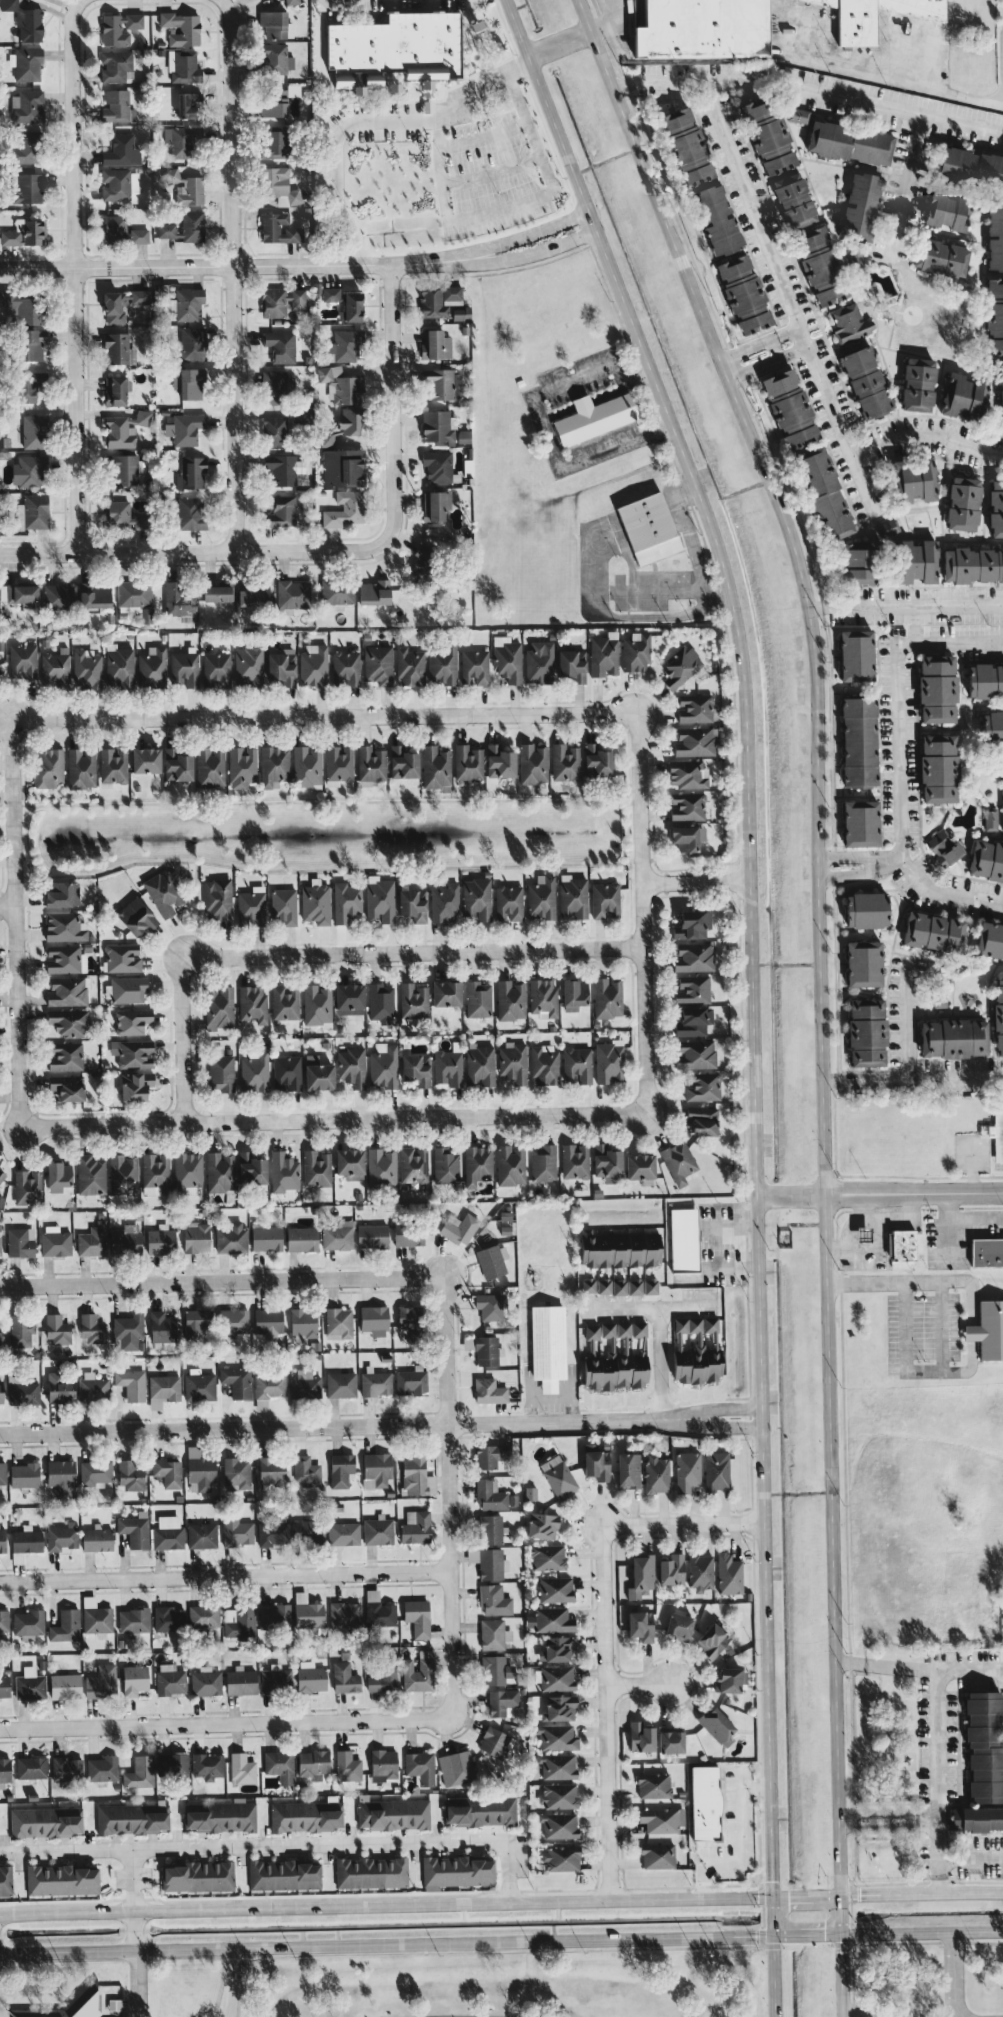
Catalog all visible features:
road: (616, 8)
building: (25, 21)
road: (605, 23)
building: (474, 24)
building: (275, 25)
building: (751, 25)
building: (119, 28)
building: (182, 28)
road: (559, 42)
building: (398, 44)
building: (276, 59)
building: (28, 64)
road: (520, 64)
building: (114, 66)
building: (183, 66)
road: (891, 79)
road: (477, 85)
road: (810, 86)
building: (274, 103)
building: (189, 105)
building: (27, 106)
building: (117, 106)
building: (798, 115)
road: (528, 129)
building: (768, 138)
building: (180, 140)
building: (276, 142)
building: (849, 143)
building: (27, 147)
building: (686, 147)
road: (332, 148)
building: (122, 150)
parking lot: (487, 157)
building: (969, 166)
building: (171, 175)
building: (120, 184)
road: (904, 185)
building: (279, 186)
building: (28, 189)
building: (190, 191)
building: (793, 201)
building: (861, 207)
building: (947, 212)
building: (716, 219)
building: (185, 227)
building: (278, 229)
building: (121, 231)
building: (25, 233)
building: (995, 236)
building: (941, 258)
road: (299, 266)
building: (819, 267)
road: (233, 271)
road: (73, 273)
building: (452, 293)
building: (331, 294)
building: (744, 294)
building: (140, 297)
building: (298, 299)
road: (789, 300)
building: (274, 303)
building: (432, 303)
building: (188, 304)
building: (23, 307)
building: (114, 307)
building: (351, 307)
building: (994, 315)
building: (850, 323)
road: (758, 340)
building: (192, 343)
building: (33, 344)
building: (344, 345)
building: (435, 345)
building: (281, 346)
road: (773, 347)
road: (766, 361)
building: (865, 382)
building: (189, 383)
building: (442, 384)
building: (30, 385)
building: (342, 385)
building: (918, 385)
building: (277, 387)
building: (115, 391)
building: (964, 396)
building: (1001, 396)
building: (789, 408)
building: (594, 417)
building: (282, 426)
building: (437, 427)
road: (544, 427)
building: (185, 428)
building: (124, 429)
building: (35, 431)
road: (927, 434)
building: (463, 436)
building: (438, 466)
building: (343, 467)
building: (124, 469)
building: (282, 469)
building: (31, 471)
building: (192, 472)
building: (914, 480)
building: (824, 493)
building: (963, 504)
building: (435, 505)
building: (345, 509)
building: (996, 509)
building: (33, 511)
building: (282, 512)
building: (191, 513)
building: (123, 516)
building: (648, 528)
building: (887, 528)
road: (690, 540)
road: (370, 550)
road: (38, 551)
building: (916, 561)
building: (423, 562)
building: (858, 564)
road: (590, 565)
building: (973, 565)
building: (337, 591)
building: (218, 592)
building: (374, 592)
building: (19, 593)
building: (253, 594)
building: (293, 594)
building: (59, 595)
building: (95, 595)
building: (136, 598)
building: (178, 601)
road: (914, 605)
road: (817, 608)
road: (914, 624)
building: (635, 652)
building: (603, 655)
building: (856, 655)
building: (507, 659)
building: (23, 661)
building: (442, 664)
building: (539, 664)
building: (313, 665)
building: (378, 665)
building: (409, 666)
building: (571, 666)
building: (248, 667)
building: (474, 667)
building: (682, 667)
building: (56, 668)
building: (152, 668)
building: (281, 668)
building: (345, 668)
building: (87, 669)
building: (184, 669)
building: (216, 669)
building: (0, 671)
building: (985, 681)
building: (937, 688)
road: (898, 700)
building: (695, 708)
road: (322, 715)
building: (993, 728)
building: (695, 741)
building: (859, 741)
building: (938, 744)
building: (145, 760)
building: (597, 761)
building: (499, 762)
building: (565, 762)
building: (403, 763)
building: (468, 763)
building: (533, 764)
building: (113, 765)
building: (177, 765)
building: (338, 765)
building: (370, 765)
building: (274, 766)
building: (49, 767)
building: (242, 767)
building: (307, 767)
building: (435, 767)
building: (81, 768)
building: (210, 768)
building: (687, 774)
building: (939, 778)
road: (324, 802)
building: (687, 806)
building: (990, 819)
building: (860, 823)
building: (687, 837)
building: (944, 847)
building: (986, 860)
road: (323, 867)
road: (911, 875)
road: (695, 883)
building: (163, 893)
building: (62, 894)
building: (541, 897)
building: (573, 897)
building: (379, 899)
building: (476, 899)
building: (605, 900)
building: (346, 902)
building: (444, 903)
building: (508, 903)
building: (315, 904)
building: (412, 904)
road: (5, 905)
building: (251, 907)
building: (283, 907)
building: (866, 910)
road: (640, 913)
building: (136, 917)
road: (10, 921)
building: (692, 924)
building: (65, 927)
building: (933, 932)
building: (990, 940)
road: (330, 955)
building: (122, 957)
building: (693, 957)
building: (65, 959)
building: (863, 963)
road: (820, 983)
road: (752, 987)
building: (128, 989)
building: (693, 989)
building: (67, 991)
building: (446, 993)
building: (574, 994)
building: (940, 997)
building: (543, 998)
building: (349, 999)
building: (478, 999)
building: (607, 999)
building: (413, 1000)
building: (510, 1000)
building: (285, 1002)
building: (381, 1003)
building: (317, 1004)
building: (252, 1005)
building: (220, 1008)
road: (906, 1017)
building: (998, 1018)
building: (132, 1020)
building: (693, 1021)
building: (70, 1022)
building: (866, 1032)
building: (953, 1038)
building: (133, 1053)
building: (695, 1054)
building: (65, 1056)
building: (608, 1061)
building: (513, 1062)
building: (545, 1065)
building: (577, 1065)
building: (352, 1066)
building: (383, 1066)
building: (480, 1066)
building: (448, 1068)
building: (416, 1069)
building: (255, 1071)
building: (221, 1072)
building: (287, 1073)
building: (317, 1074)
road: (912, 1078)
building: (136, 1086)
building: (702, 1086)
building: (67, 1087)
road: (330, 1117)
building: (702, 1120)
building: (997, 1131)
building: (574, 1161)
building: (678, 1161)
building: (606, 1162)
building: (349, 1163)
building: (543, 1163)
building: (413, 1164)
building: (445, 1165)
building: (477, 1165)
building: (510, 1165)
building: (640, 1167)
building: (316, 1168)
building: (381, 1168)
building: (251, 1169)
building: (155, 1170)
building: (187, 1171)
building: (220, 1172)
building: (283, 1172)
building: (123, 1174)
building: (90, 1175)
building: (1, 1176)
building: (58, 1176)
building: (27, 1187)
road: (879, 1194)
road: (964, 1217)
road: (898, 1219)
building: (459, 1228)
building: (863, 1234)
building: (372, 1235)
building: (408, 1235)
building: (196, 1237)
building: (231, 1237)
building: (266, 1238)
road: (864, 1238)
building: (302, 1239)
building: (93, 1240)
building: (161, 1240)
building: (684, 1240)
building: (55, 1241)
building: (20, 1242)
building: (125, 1242)
building: (0, 1245)
building: (901, 1245)
building: (620, 1249)
building: (987, 1252)
building: (492, 1260)
road: (222, 1277)
building: (596, 1286)
building: (635, 1286)
building: (650, 1286)
building: (619, 1287)
road: (968, 1288)
building: (489, 1306)
road: (649, 1307)
building: (374, 1320)
building: (233, 1321)
building: (197, 1322)
building: (410, 1322)
building: (268, 1323)
building: (339, 1323)
building: (303, 1324)
road: (903, 1326)
road: (938, 1326)
building: (162, 1327)
building: (92, 1328)
building: (631, 1329)
building: (21, 1330)
building: (58, 1330)
building: (988, 1330)
building: (129, 1332)
building: (547, 1346)
building: (487, 1350)
building: (696, 1350)
building: (609, 1361)
road: (658, 1362)
building: (236, 1381)
building: (411, 1381)
building: (131, 1384)
building: (341, 1384)
building: (375, 1384)
building: (199, 1385)
building: (269, 1385)
building: (305, 1385)
building: (93, 1388)
building: (163, 1390)
building: (61, 1391)
building: (489, 1391)
building: (23, 1393)
building: (1, 1394)
road: (551, 1397)
road: (380, 1422)
building: (492, 1456)
building: (376, 1469)
building: (271, 1470)
building: (341, 1470)
building: (628, 1470)
building: (95, 1471)
building: (305, 1471)
building: (686, 1471)
building: (716, 1471)
building: (167, 1472)
building: (237, 1472)
building: (2, 1474)
building: (656, 1474)
building: (24, 1475)
building: (130, 1475)
building: (416, 1475)
building: (60, 1476)
building: (558, 1476)
road: (448, 1496)
building: (490, 1496)
building: (542, 1525)
building: (415, 1527)
building: (490, 1529)
building: (135, 1530)
building: (308, 1531)
building: (377, 1531)
building: (236, 1532)
building: (272, 1532)
building: (168, 1533)
building: (343, 1534)
building: (202, 1535)
building: (62, 1537)
building: (97, 1539)
building: (26, 1541)
building: (548, 1557)
building: (488, 1563)
building: (671, 1570)
building: (700, 1572)
building: (729, 1574)
road: (224, 1576)
building: (641, 1576)
building: (556, 1589)
building: (494, 1600)
building: (378, 1610)
building: (307, 1612)
building: (344, 1614)
building: (204, 1615)
building: (274, 1617)
building: (417, 1617)
building: (169, 1618)
building: (550, 1620)
building: (4, 1621)
building: (134, 1621)
building: (240, 1622)
building: (28, 1623)
building: (641, 1625)
building: (66, 1626)
building: (679, 1626)
road: (602, 1630)
building: (493, 1634)
building: (712, 1640)
building: (557, 1648)
road: (919, 1669)
building: (493, 1670)
building: (418, 1672)
building: (311, 1677)
building: (557, 1677)
building: (344, 1678)
building: (382, 1678)
building: (170, 1679)
building: (730, 1679)
building: (133, 1680)
building: (275, 1680)
building: (101, 1682)
building: (206, 1682)
building: (241, 1682)
road: (636, 1684)
building: (30, 1685)
building: (4, 1686)
building: (65, 1686)
building: (502, 1702)
building: (560, 1708)
road: (217, 1717)
building: (717, 1726)
building: (556, 1737)
building: (641, 1737)
building: (671, 1742)
building: (496, 1743)
building: (985, 1746)
building: (312, 1762)
building: (172, 1764)
building: (279, 1765)
building: (383, 1765)
building: (207, 1766)
building: (347, 1766)
building: (420, 1766)
building: (558, 1766)
building: (31, 1767)
building: (102, 1768)
building: (242, 1768)
building: (456, 1768)
building: (66, 1769)
building: (5, 1770)
building: (139, 1772)
road: (937, 1781)
building: (654, 1785)
building: (558, 1796)
building: (705, 1803)
building: (480, 1810)
building: (394, 1814)
building: (219, 1816)
building: (306, 1816)
building: (132, 1818)
building: (662, 1819)
road: (887, 1819)
building: (977, 1819)
building: (46, 1821)
building: (559, 1825)
road: (282, 1843)
building: (657, 1856)
road: (971, 1856)
building: (561, 1858)
building: (371, 1872)
building: (457, 1872)
building: (283, 1875)
building: (197, 1877)
building: (6, 1880)
building: (61, 1880)
traffic signals: (771, 1880)
road: (921, 1891)
traffic signals: (860, 1894)
road: (806, 1895)
traffic signals: (789, 1896)
road: (132, 1900)
road: (385, 1904)
road: (922, 1930)
road: (807, 1934)
traffic signals: (824, 1934)
traffic signals: (756, 1936)
road: (385, 1944)
traffic signals: (843, 1952)
road: (121, 1959)
road: (954, 1975)
road: (229, 1982)
road: (238, 1982)
road: (134, 1983)
park: (448, 1988)
road: (843, 2013)
road: (857, 2013)

